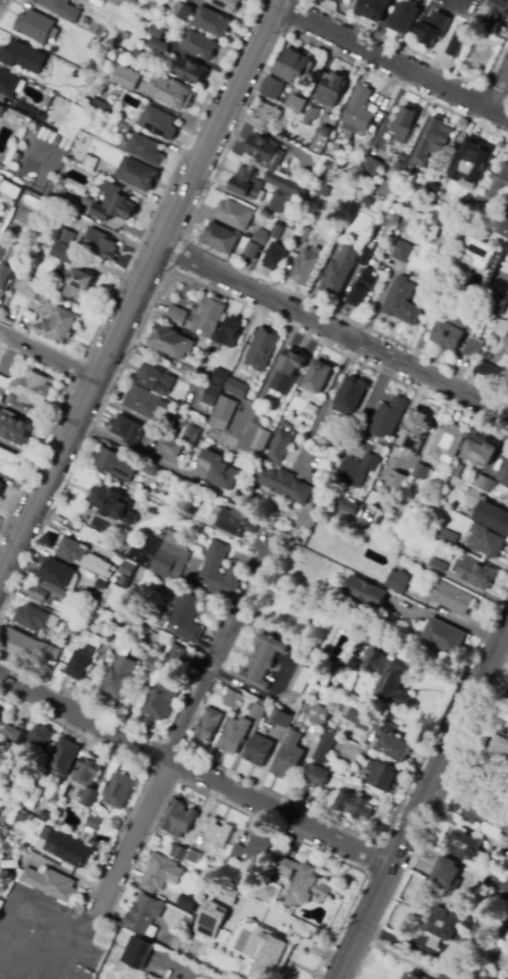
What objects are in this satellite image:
building: (111, 0)
building: (337, 1)
road: (277, 3)
building: (227, 4)
building: (61, 9)
building: (374, 9)
building: (184, 11)
building: (495, 11)
building: (404, 16)
building: (213, 22)
building: (35, 26)
building: (432, 30)
building: (156, 32)
building: (460, 38)
building: (159, 46)
building: (201, 46)
road: (421, 53)
building: (140, 55)
building: (23, 57)
road: (392, 62)
building: (295, 66)
building: (192, 72)
building: (127, 78)
building: (8, 85)
building: (273, 88)
building: (332, 89)
building: (172, 91)
road: (499, 92)
building: (50, 99)
building: (297, 104)
building: (100, 105)
building: (25, 109)
building: (1, 110)
building: (358, 111)
building: (41, 115)
building: (312, 115)
building: (271, 116)
building: (161, 122)
building: (125, 125)
building: (403, 125)
building: (325, 134)
building: (433, 142)
building: (146, 150)
building: (267, 152)
building: (89, 162)
building: (373, 165)
building: (472, 165)
building: (321, 168)
building: (2, 171)
building: (138, 175)
building: (387, 182)
road: (209, 185)
building: (248, 185)
building: (495, 189)
building: (421, 190)
building: (432, 191)
building: (283, 192)
building: (60, 194)
building: (86, 201)
building: (114, 204)
building: (235, 215)
building: (397, 218)
building: (296, 223)
building: (503, 226)
building: (277, 233)
building: (304, 233)
building: (64, 235)
building: (261, 237)
building: (221, 238)
building: (101, 245)
building: (3, 246)
building: (507, 249)
building: (252, 250)
road: (176, 252)
building: (402, 252)
building: (65, 253)
building: (475, 255)
building: (275, 256)
building: (368, 259)
building: (306, 266)
building: (340, 269)
road: (166, 272)
building: (5, 276)
building: (501, 279)
building: (76, 283)
building: (27, 288)
road: (136, 288)
building: (362, 288)
building: (402, 302)
building: (494, 302)
building: (178, 314)
building: (208, 317)
road: (432, 322)
building: (59, 325)
road: (333, 330)
building: (450, 332)
building: (229, 333)
building: (170, 342)
building: (474, 348)
building: (263, 349)
road: (46, 354)
building: (192, 368)
building: (289, 371)
building: (492, 373)
building: (220, 377)
building: (318, 377)
building: (157, 380)
building: (4, 387)
building: (237, 388)
building: (32, 389)
building: (351, 395)
building: (213, 396)
building: (143, 402)
building: (18, 406)
building: (224, 413)
building: (388, 417)
building: (14, 429)
building: (128, 430)
building: (416, 433)
building: (186, 434)
building: (262, 435)
building: (448, 443)
building: (171, 447)
building: (281, 447)
road: (132, 449)
building: (480, 452)
building: (9, 463)
building: (117, 464)
building: (150, 470)
building: (219, 470)
building: (250, 470)
building: (358, 470)
building: (457, 470)
building: (504, 471)
building: (422, 472)
building: (332, 481)
building: (439, 481)
building: (396, 482)
building: (481, 482)
building: (284, 484)
building: (491, 486)
building: (1, 487)
building: (416, 487)
building: (113, 504)
building: (348, 506)
building: (391, 512)
building: (493, 516)
building: (234, 521)
road: (72, 535)
building: (449, 537)
building: (485, 541)
building: (97, 551)
building: (85, 558)
building: (165, 558)
building: (129, 568)
building: (212, 568)
building: (57, 573)
building: (476, 574)
building: (397, 581)
building: (149, 587)
building: (49, 594)
building: (367, 594)
building: (450, 597)
building: (183, 618)
building: (74, 619)
building: (42, 620)
building: (443, 636)
building: (29, 648)
building: (174, 658)
building: (77, 662)
building: (263, 662)
building: (154, 665)
building: (352, 665)
building: (118, 677)
building: (300, 679)
building: (388, 679)
building: (231, 698)
road: (82, 699)
building: (159, 702)
building: (1, 712)
building: (257, 712)
building: (320, 715)
building: (357, 715)
building: (0, 719)
building: (281, 719)
building: (209, 725)
building: (15, 735)
building: (234, 735)
building: (41, 737)
road: (172, 744)
building: (496, 744)
building: (4, 745)
building: (325, 747)
building: (393, 747)
building: (259, 750)
building: (288, 756)
building: (64, 757)
road: (167, 768)
road: (196, 772)
building: (384, 775)
road: (475, 776)
building: (317, 777)
building: (88, 779)
building: (118, 789)
building: (33, 797)
road: (423, 802)
building: (354, 806)
road: (396, 811)
building: (45, 816)
building: (486, 818)
building: (179, 819)
building: (93, 822)
building: (3, 831)
building: (219, 835)
building: (465, 845)
building: (64, 846)
building: (178, 852)
building: (193, 857)
building: (250, 857)
building: (10, 864)
building: (505, 865)
building: (159, 873)
building: (448, 874)
building: (303, 883)
building: (48, 884)
building: (496, 884)
building: (269, 891)
building: (230, 895)
building: (188, 902)
road: (58, 913)
building: (142, 913)
building: (211, 919)
building: (447, 927)
building: (506, 930)
parking lot: (45, 938)
building: (174, 943)
road: (44, 946)
road: (425, 950)
building: (269, 952)
building: (137, 953)
building: (413, 976)
building: (443, 977)

